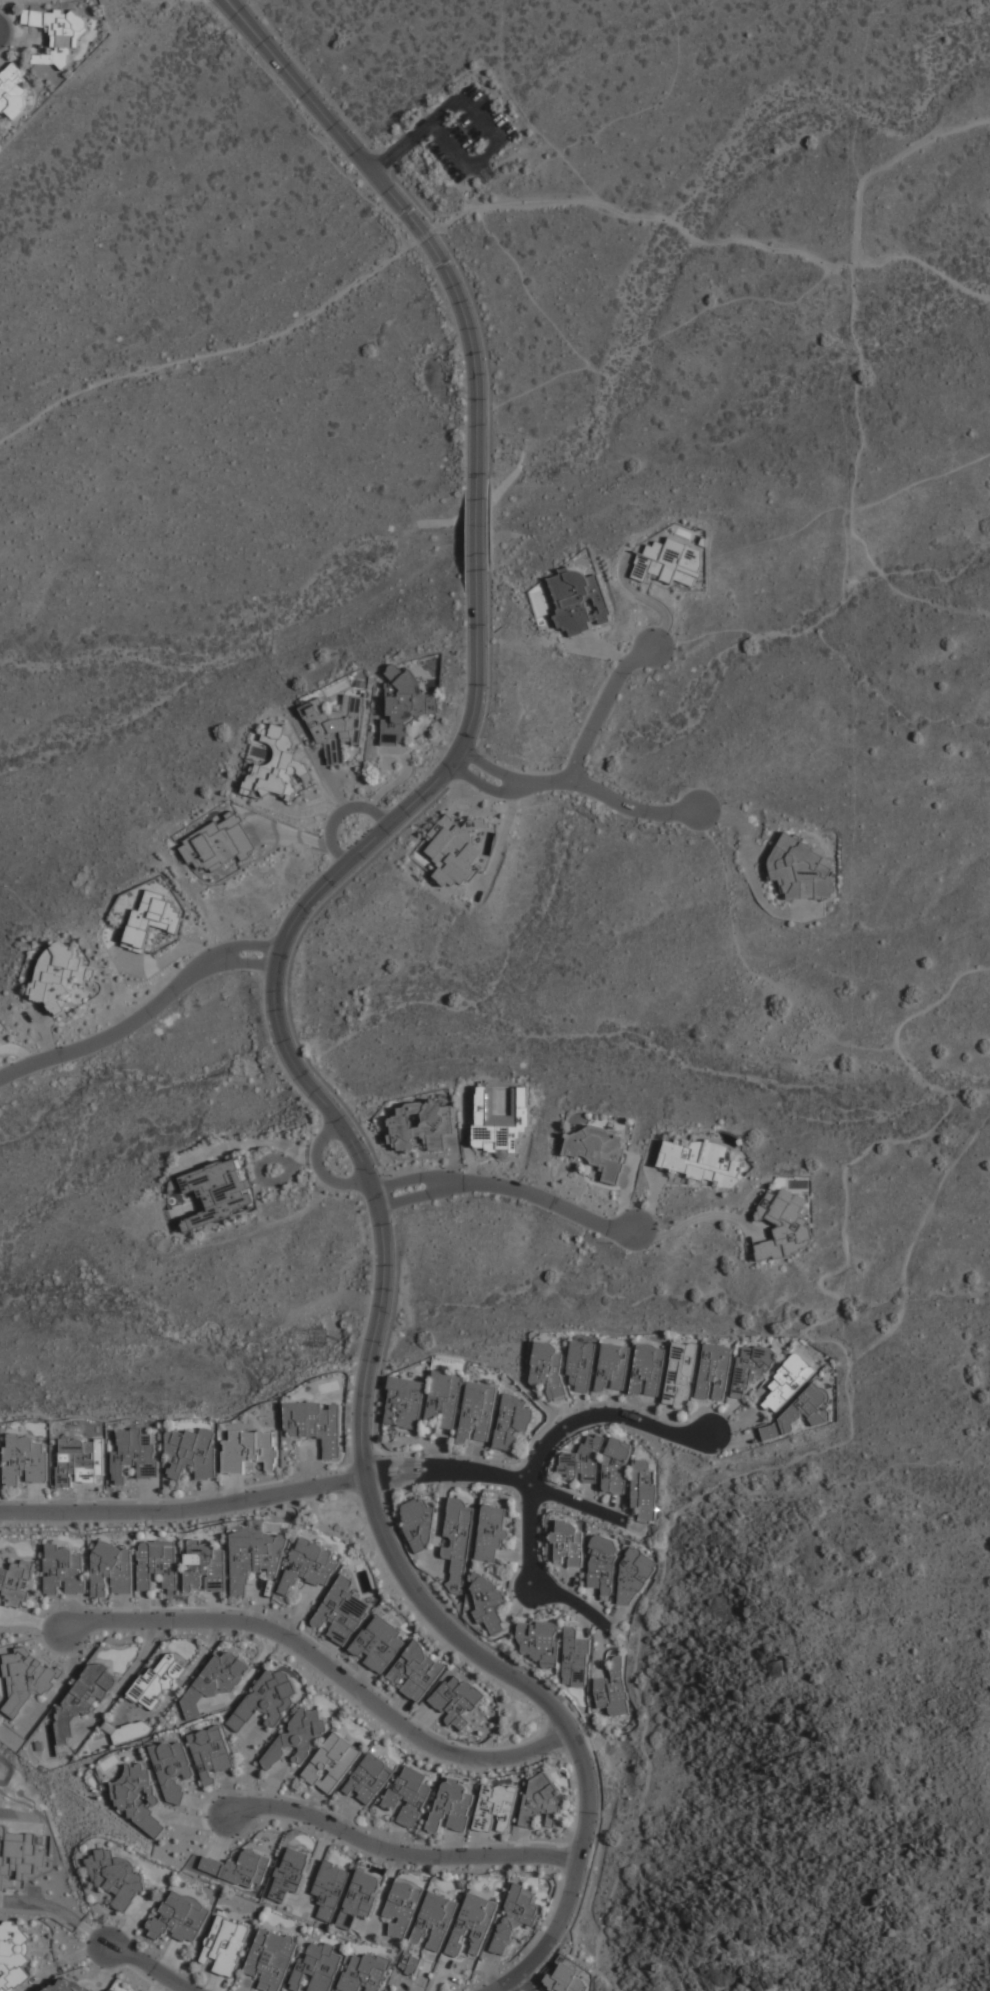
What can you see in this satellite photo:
road: (162, 0)
building: (57, 34)
road: (321, 87)
building: (13, 91)
road: (474, 111)
parking lot: (464, 133)
road: (885, 166)
road: (467, 188)
road: (479, 208)
road: (409, 216)
road: (471, 301)
road: (921, 480)
road: (855, 487)
road: (485, 525)
road: (476, 532)
building: (669, 561)
building: (580, 602)
building: (543, 604)
road: (602, 706)
building: (404, 708)
building: (337, 725)
road: (483, 763)
building: (278, 768)
road: (474, 780)
road: (603, 792)
road: (338, 812)
building: (217, 842)
building: (453, 851)
building: (802, 870)
building: (151, 920)
road: (254, 944)
road: (280, 947)
road: (254, 963)
building: (58, 975)
building: (1, 1027)
road: (123, 1027)
building: (501, 1120)
building: (422, 1126)
building: (599, 1150)
building: (702, 1162)
road: (318, 1168)
road: (402, 1180)
building: (219, 1192)
road: (537, 1196)
road: (406, 1198)
road: (696, 1219)
building: (782, 1225)
road: (398, 1286)
building: (582, 1366)
building: (549, 1369)
building: (613, 1369)
building: (751, 1369)
building: (647, 1371)
building: (715, 1373)
building: (680, 1376)
building: (789, 1383)
building: (443, 1399)
building: (404, 1404)
building: (802, 1412)
road: (602, 1414)
building: (478, 1415)
building: (513, 1422)
building: (316, 1426)
road: (843, 1442)
building: (249, 1451)
building: (192, 1453)
building: (135, 1456)
building: (583, 1461)
building: (25, 1462)
building: (79, 1462)
road: (392, 1463)
road: (430, 1464)
building: (617, 1467)
road: (405, 1470)
road: (428, 1475)
road: (391, 1480)
road: (533, 1486)
building: (645, 1490)
road: (184, 1510)
building: (420, 1524)
building: (491, 1533)
building: (459, 1539)
building: (569, 1544)
building: (254, 1559)
building: (158, 1565)
building: (308, 1566)
building: (603, 1566)
building: (205, 1567)
building: (64, 1571)
building: (113, 1571)
road: (534, 1576)
building: (634, 1576)
building: (16, 1583)
building: (488, 1602)
building: (342, 1613)
building: (539, 1643)
building: (378, 1644)
building: (576, 1659)
road: (324, 1666)
building: (417, 1672)
road: (512, 1676)
building: (28, 1678)
building: (158, 1683)
building: (213, 1683)
building: (613, 1690)
building: (84, 1700)
building: (267, 1700)
building: (457, 1701)
park: (750, 1710)
building: (118, 1735)
building: (297, 1739)
building: (212, 1753)
building: (332, 1764)
building: (173, 1769)
building: (370, 1780)
building: (409, 1796)
building: (138, 1799)
building: (542, 1802)
building: (452, 1807)
building: (497, 1809)
road: (396, 1852)
building: (18, 1856)
building: (239, 1868)
building: (292, 1871)
building: (117, 1877)
building: (330, 1888)
building: (360, 1900)
building: (402, 1907)
building: (516, 1914)
building: (181, 1918)
building: (438, 1919)
building: (472, 1926)
building: (225, 1946)
building: (14, 1957)
building: (271, 1959)
building: (409, 1961)
road: (148, 1966)
building: (317, 1968)
building: (366, 1974)
road: (521, 1983)
road: (512, 1984)
building: (67, 1985)
building: (111, 1990)

